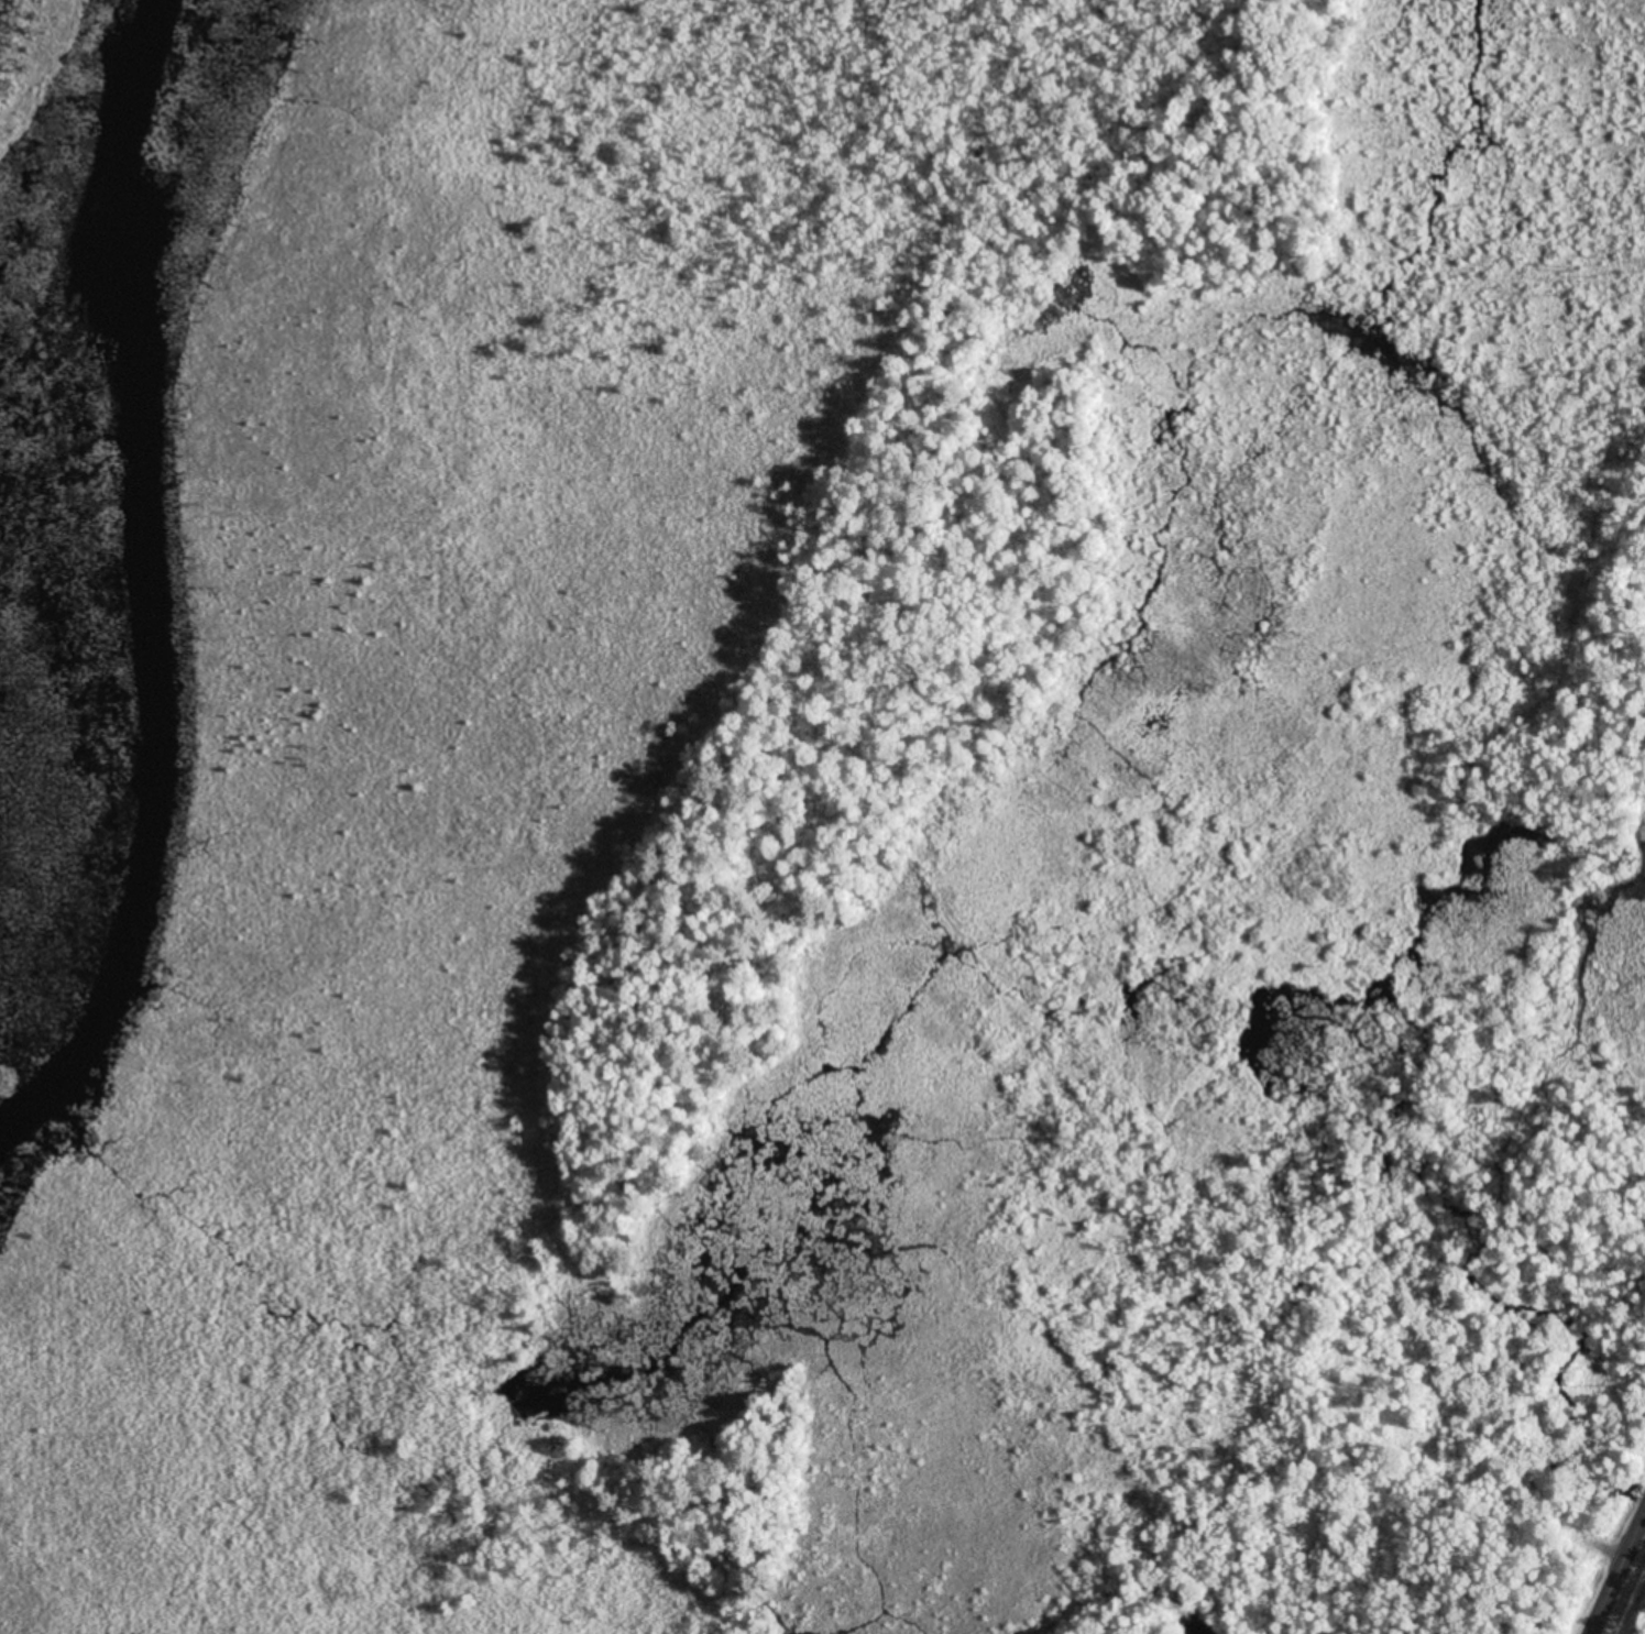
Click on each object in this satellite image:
river: (131, 548)
road: (1619, 1575)

